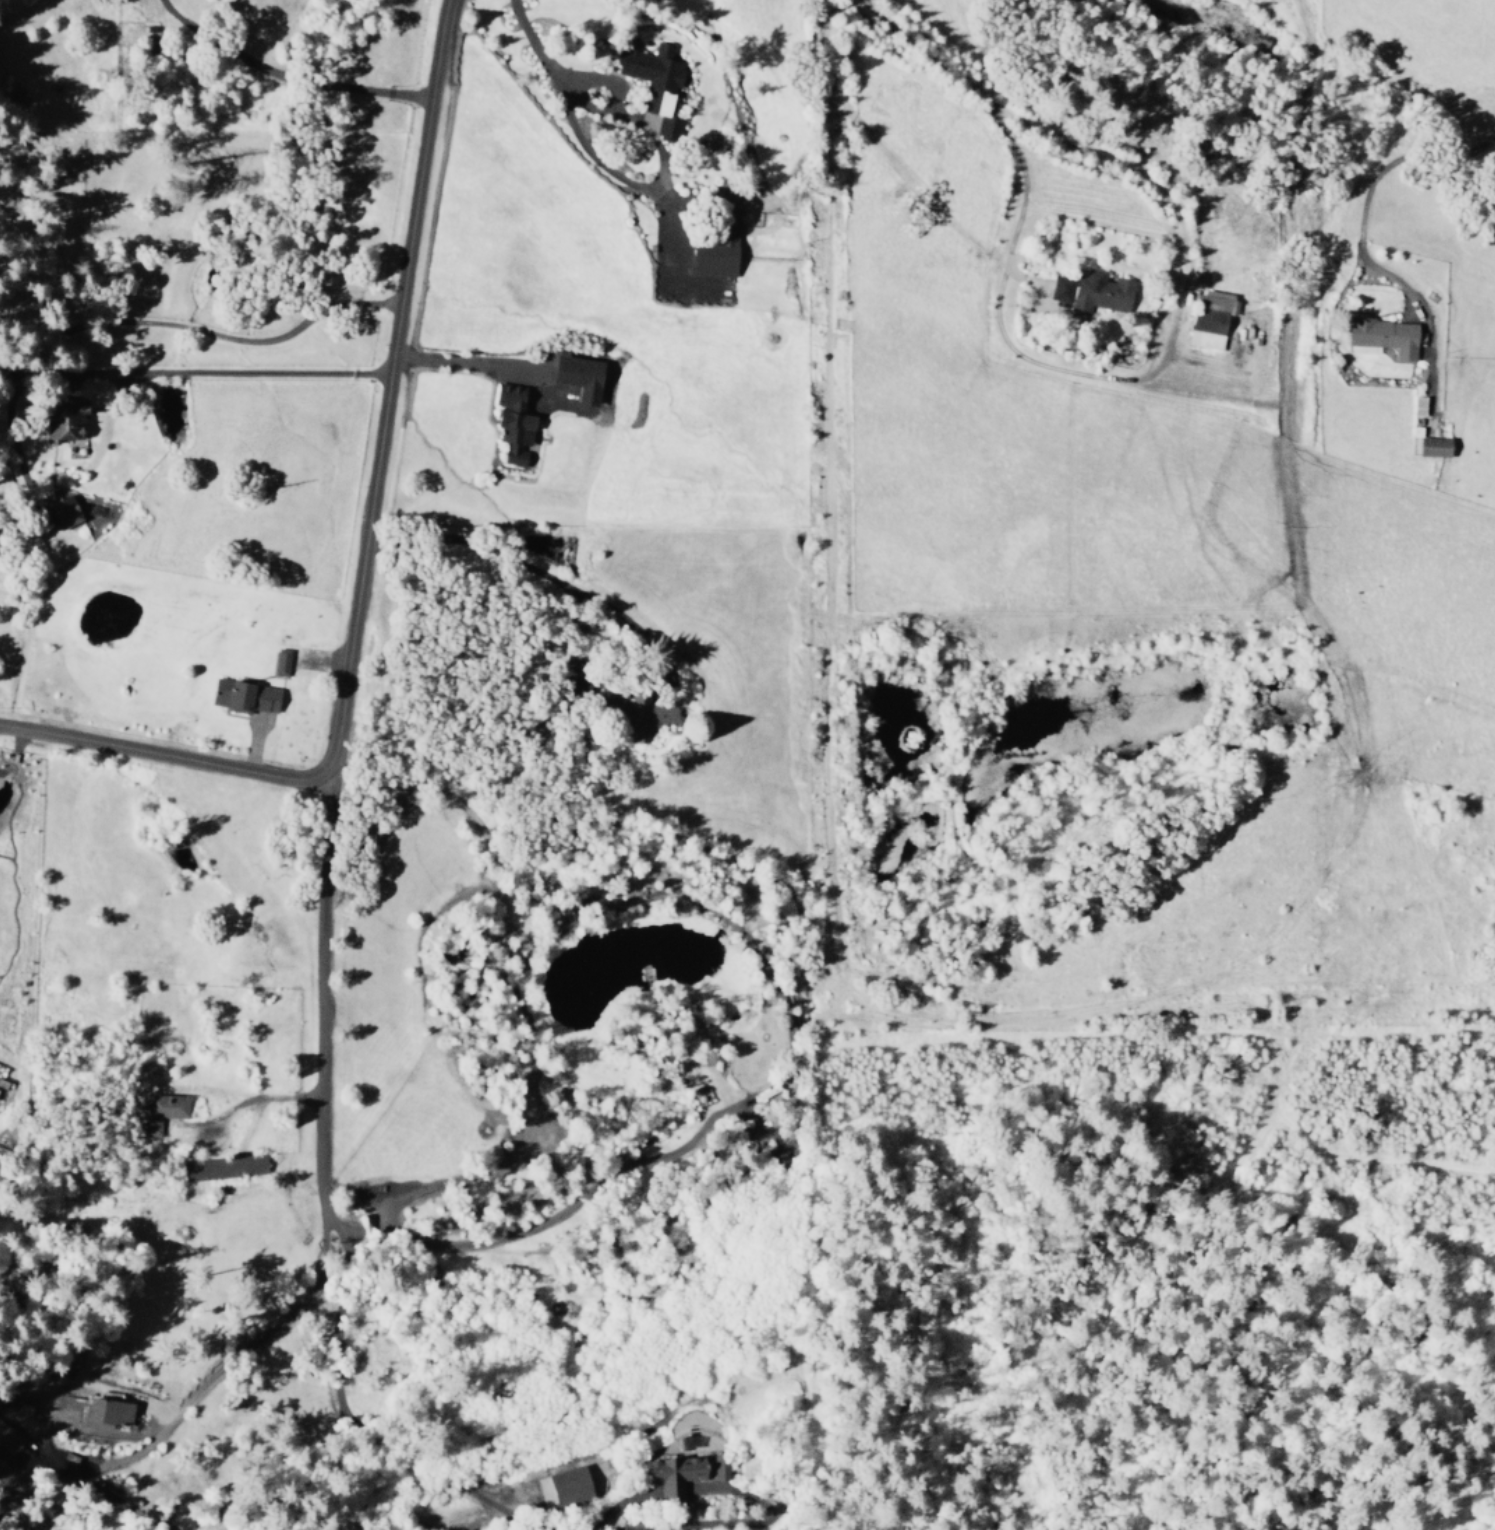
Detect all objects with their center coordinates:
building: (651, 76)
building: (716, 250)
building: (1091, 291)
building: (1208, 318)
building: (1382, 337)
building: (578, 376)
building: (65, 419)
building: (512, 423)
building: (1433, 446)
building: (62, 511)
road: (365, 551)
building: (280, 662)
building: (243, 696)
building: (644, 715)
road: (318, 985)
building: (158, 1112)
building: (107, 1411)
road: (375, 1433)
building: (683, 1473)
building: (564, 1486)
road: (671, 1492)
road: (620, 1505)
road: (512, 1517)
road: (767, 1521)

